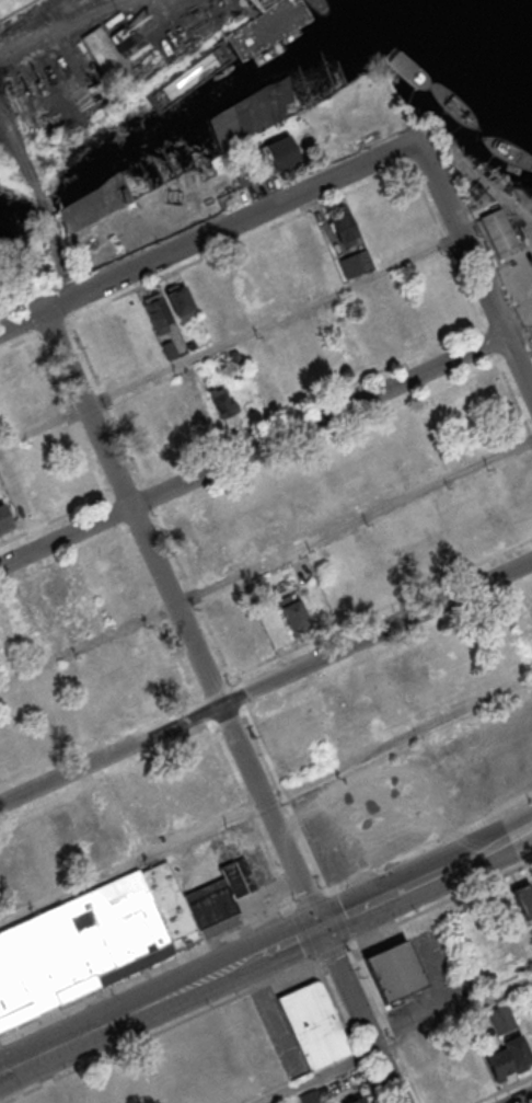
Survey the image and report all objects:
river: (509, 12)
road: (48, 30)
building: (106, 48)
building: (241, 118)
building: (279, 152)
road: (23, 159)
building: (90, 206)
building: (343, 227)
building: (499, 232)
road: (200, 239)
building: (281, 254)
road: (58, 257)
road: (473, 258)
building: (355, 264)
building: (262, 266)
building: (180, 301)
building: (157, 311)
road: (231, 340)
building: (169, 348)
building: (234, 357)
building: (223, 404)
road: (252, 450)
building: (4, 520)
building: (204, 526)
road: (266, 560)
building: (66, 584)
building: (293, 614)
building: (437, 652)
road: (265, 681)
road: (220, 706)
road: (430, 845)
road: (482, 853)
road: (132, 861)
building: (220, 893)
road: (311, 898)
road: (378, 899)
building: (522, 899)
building: (131, 920)
traffic signals: (323, 924)
road: (290, 940)
building: (41, 964)
building: (392, 969)
road: (148, 972)
road: (129, 1013)
building: (501, 1018)
building: (313, 1023)
road: (391, 1038)
building: (517, 1050)
building: (498, 1062)
building: (310, 1098)
road: (523, 1099)
building: (355, 1100)

